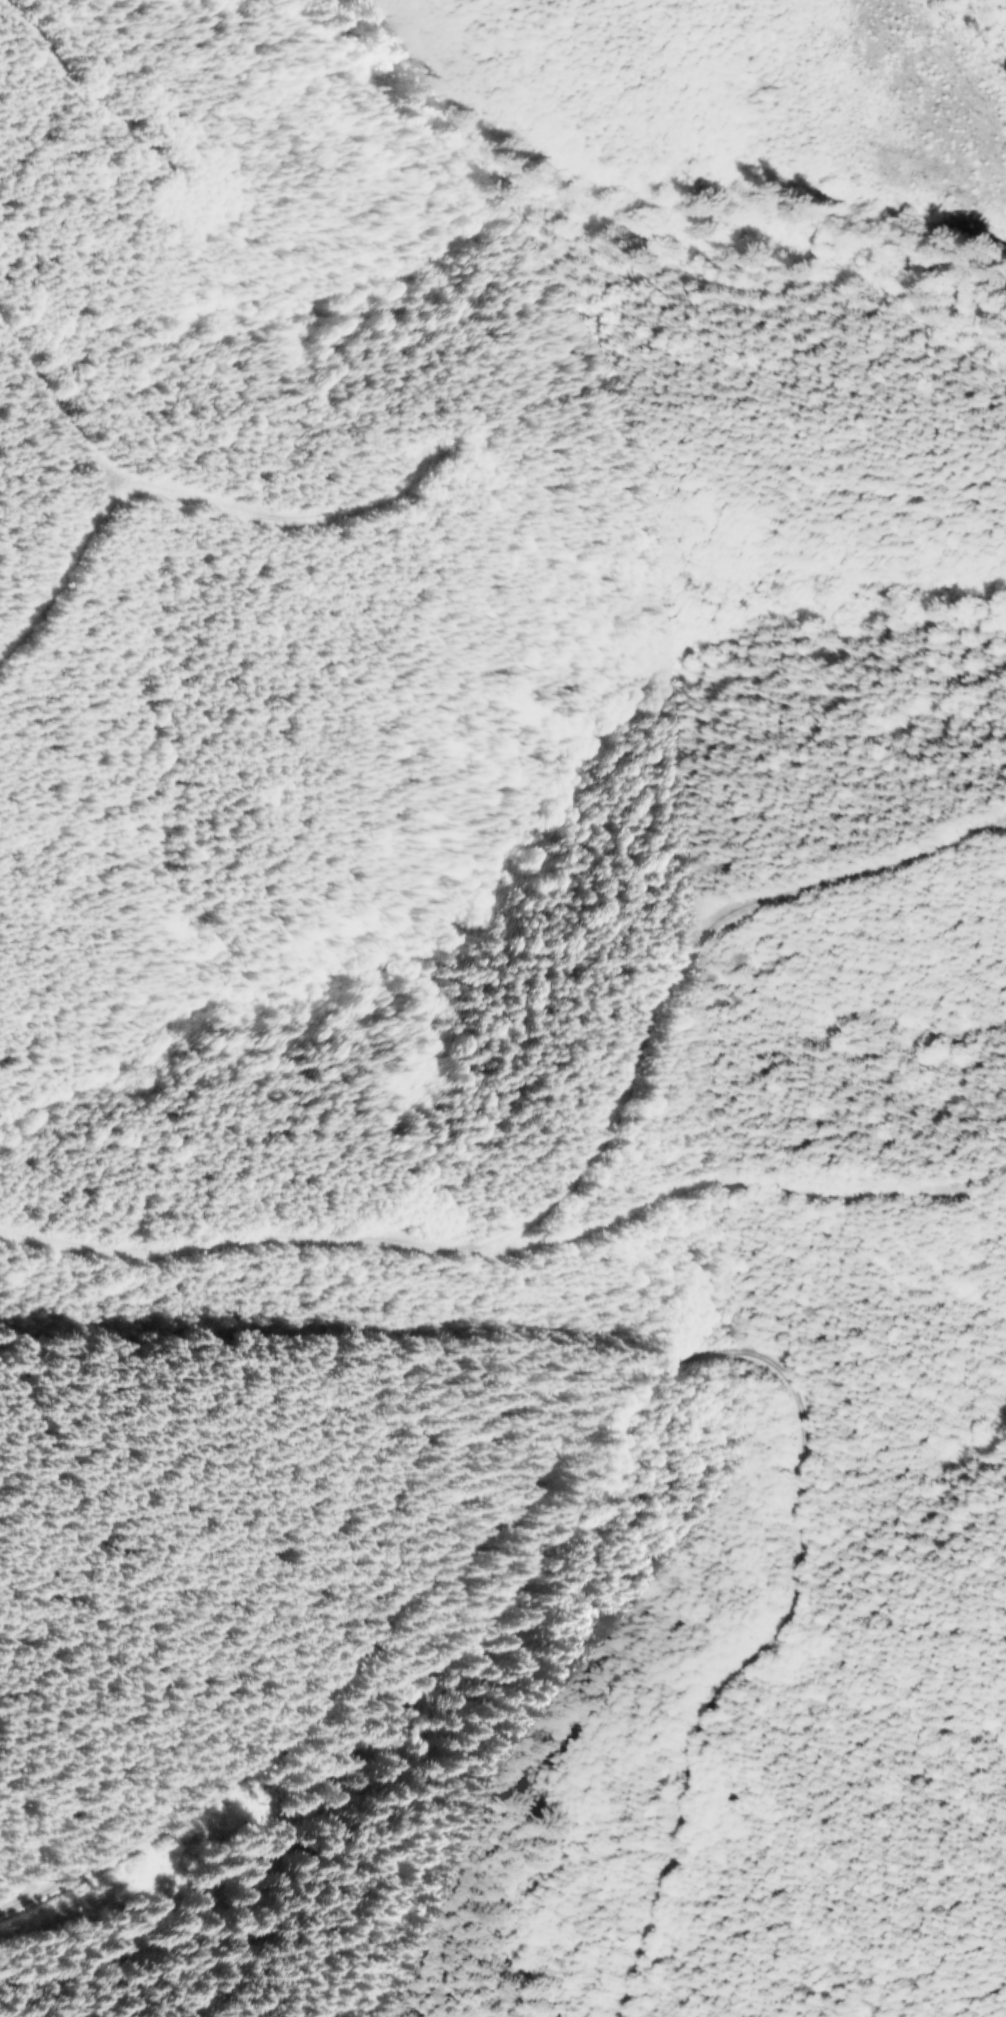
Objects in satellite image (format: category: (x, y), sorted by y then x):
road: (746, 1816)

